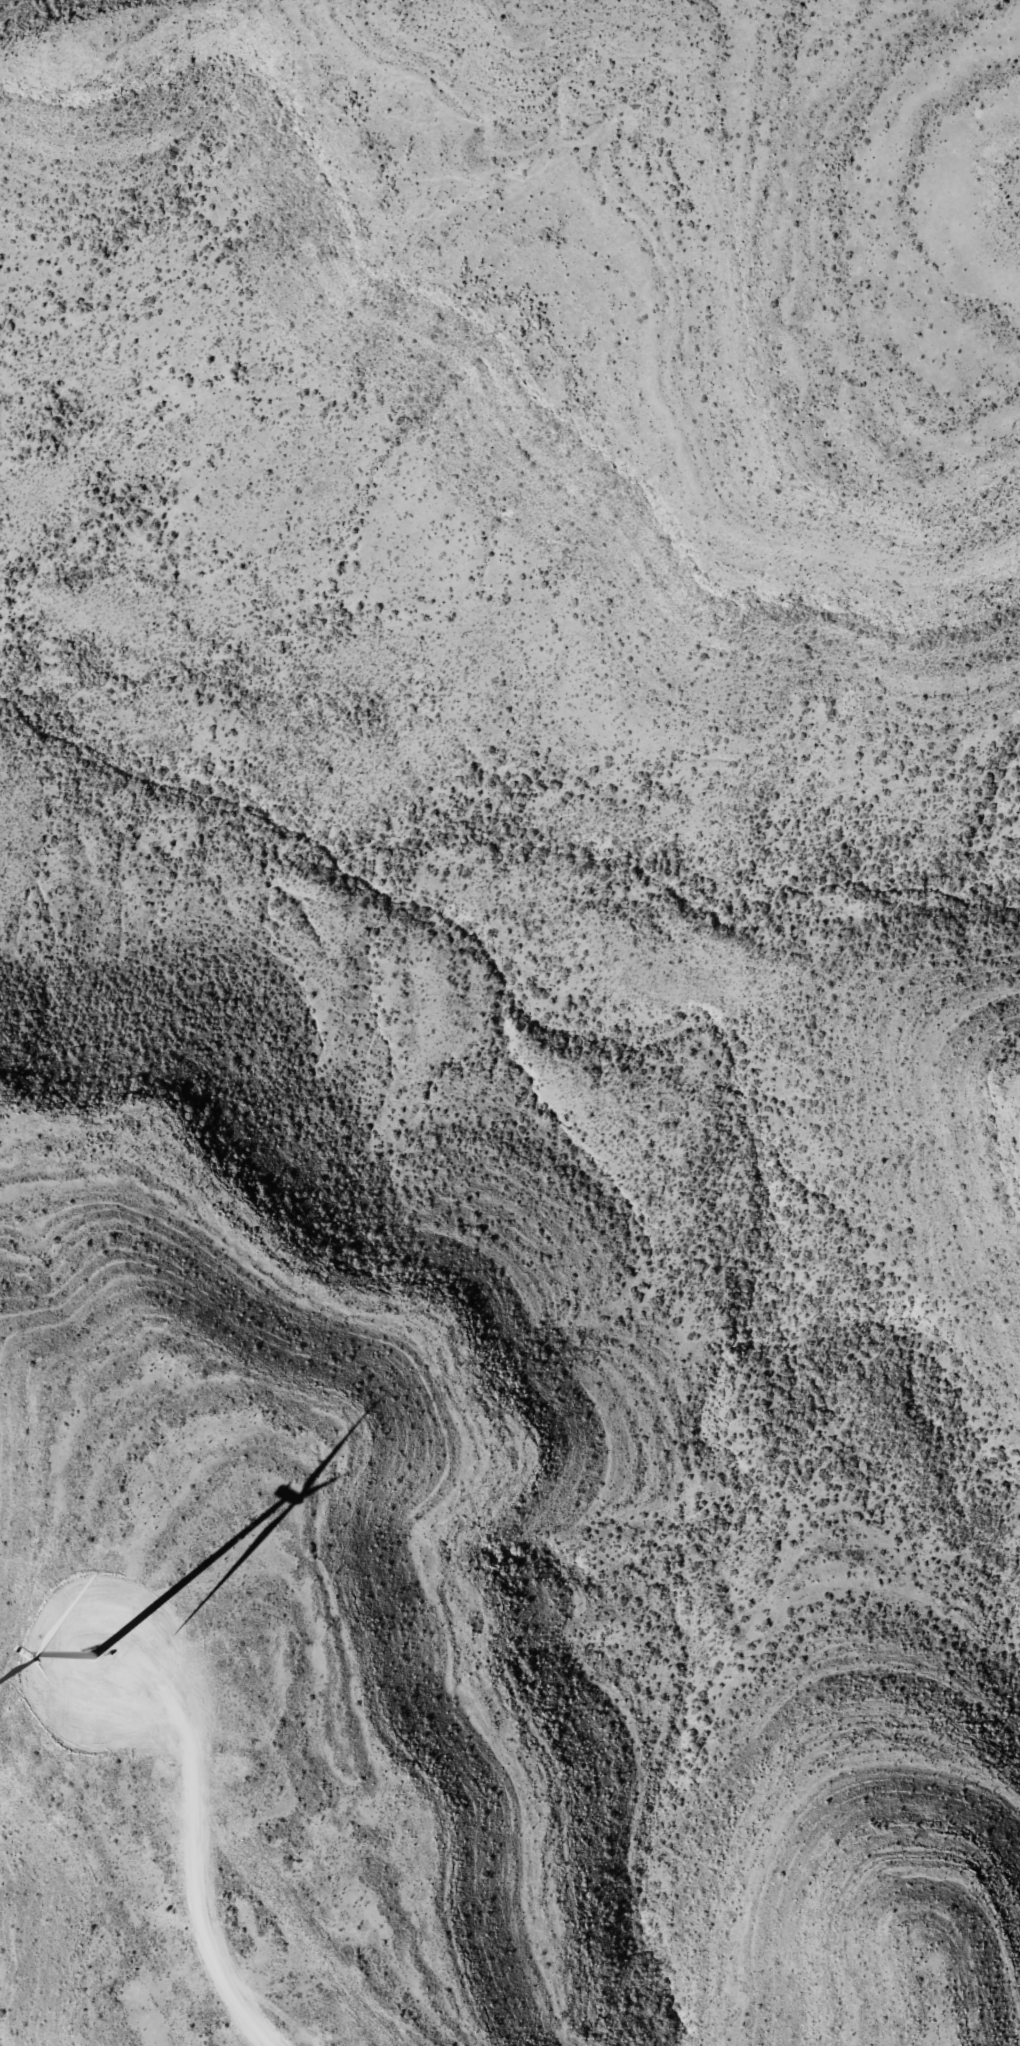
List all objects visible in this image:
wind turbine: (94, 1656)

